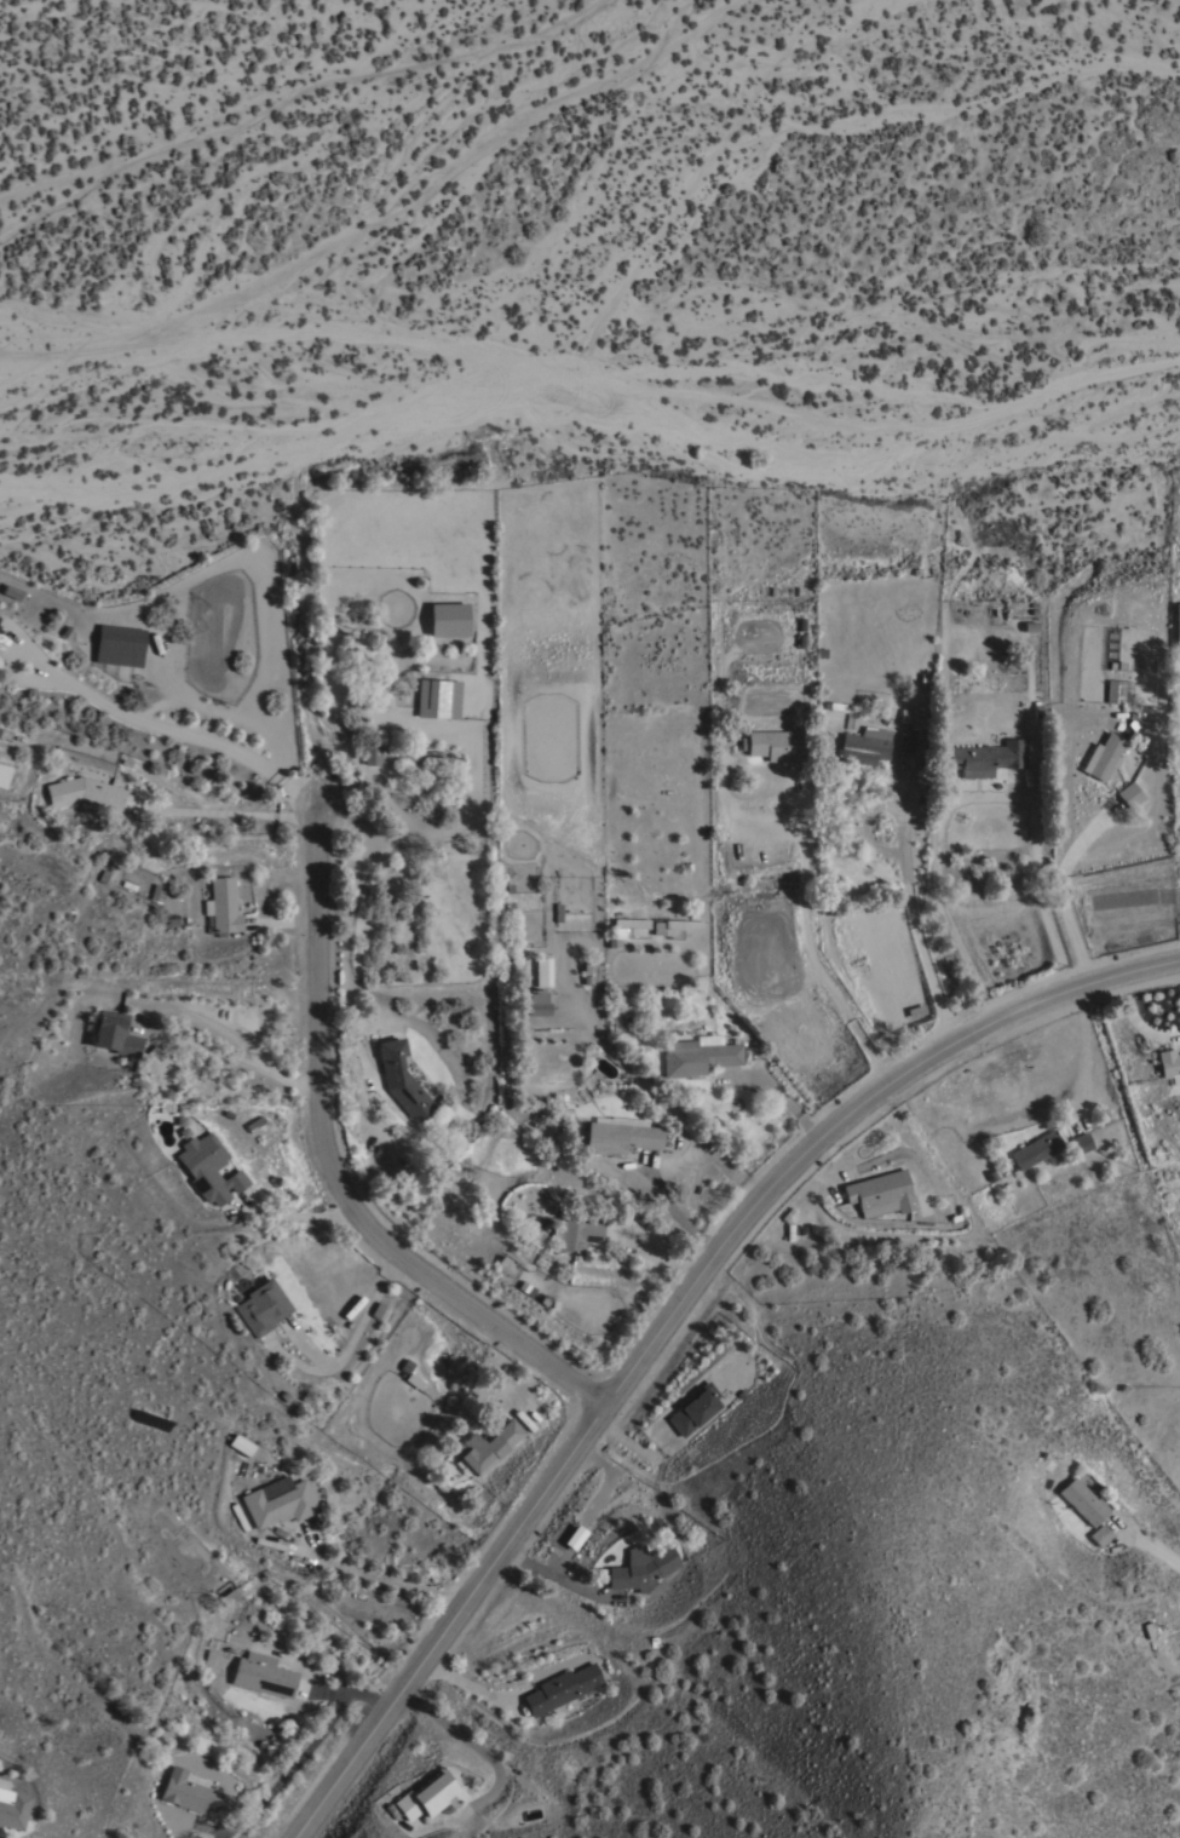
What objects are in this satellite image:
building: (11, 591)
building: (448, 619)
building: (119, 644)
building: (1115, 690)
building: (437, 699)
road: (161, 724)
building: (909, 742)
building: (775, 743)
building: (864, 746)
building: (382, 752)
building: (1103, 756)
building: (986, 757)
building: (86, 760)
building: (4, 774)
building: (85, 793)
building: (1129, 793)
road: (232, 811)
road: (858, 829)
road: (806, 869)
road: (1059, 894)
building: (223, 906)
road: (911, 917)
building: (631, 923)
building: (681, 924)
building: (542, 970)
building: (537, 1005)
road: (1135, 1018)
building: (115, 1033)
road: (184, 1038)
building: (700, 1053)
building: (1168, 1062)
building: (402, 1079)
road: (776, 1097)
road: (1032, 1119)
building: (620, 1135)
building: (1082, 1142)
building: (1035, 1149)
road: (840, 1153)
road: (332, 1164)
building: (208, 1167)
road: (723, 1167)
building: (881, 1193)
building: (923, 1202)
road: (294, 1214)
building: (577, 1234)
building: (261, 1306)
road: (670, 1316)
road: (525, 1382)
building: (693, 1408)
building: (241, 1443)
building: (487, 1446)
road: (633, 1447)
building: (278, 1500)
building: (1082, 1500)
building: (1100, 1534)
building: (574, 1538)
road: (1155, 1550)
building: (641, 1568)
road: (551, 1575)
road: (374, 1576)
building: (229, 1596)
building: (263, 1673)
road: (465, 1683)
building: (562, 1687)
road: (351, 1700)
road: (494, 1767)
road: (287, 1770)
building: (189, 1792)
building: (428, 1794)
building: (12, 1808)
road: (202, 1827)

